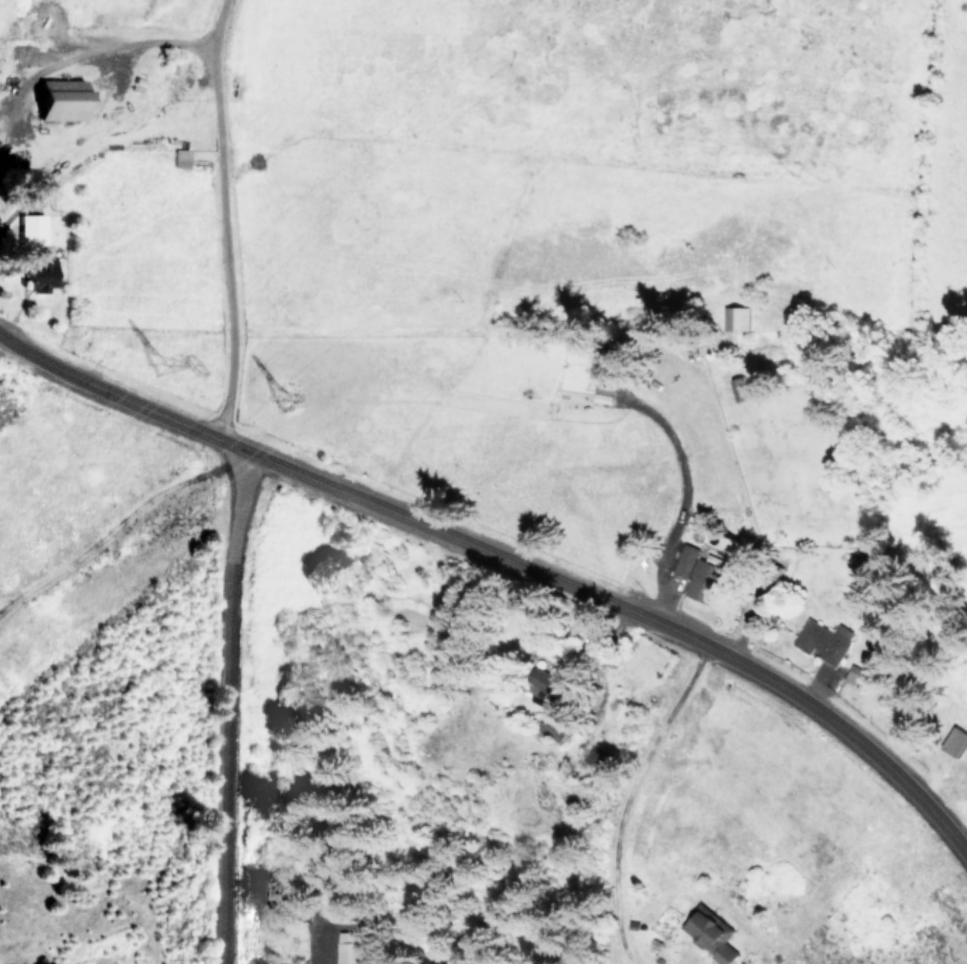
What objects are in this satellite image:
road: (221, 12)
road: (81, 53)
building: (66, 99)
building: (182, 157)
crop: (476, 184)
building: (33, 228)
road: (226, 233)
building: (44, 274)
building: (739, 317)
power tower: (171, 356)
building: (605, 376)
building: (740, 389)
power tower: (292, 396)
road: (117, 532)
building: (686, 559)
road: (506, 560)
building: (707, 582)
building: (825, 640)
road: (234, 709)
building: (553, 727)
road: (614, 797)
building: (711, 934)
building: (350, 947)

